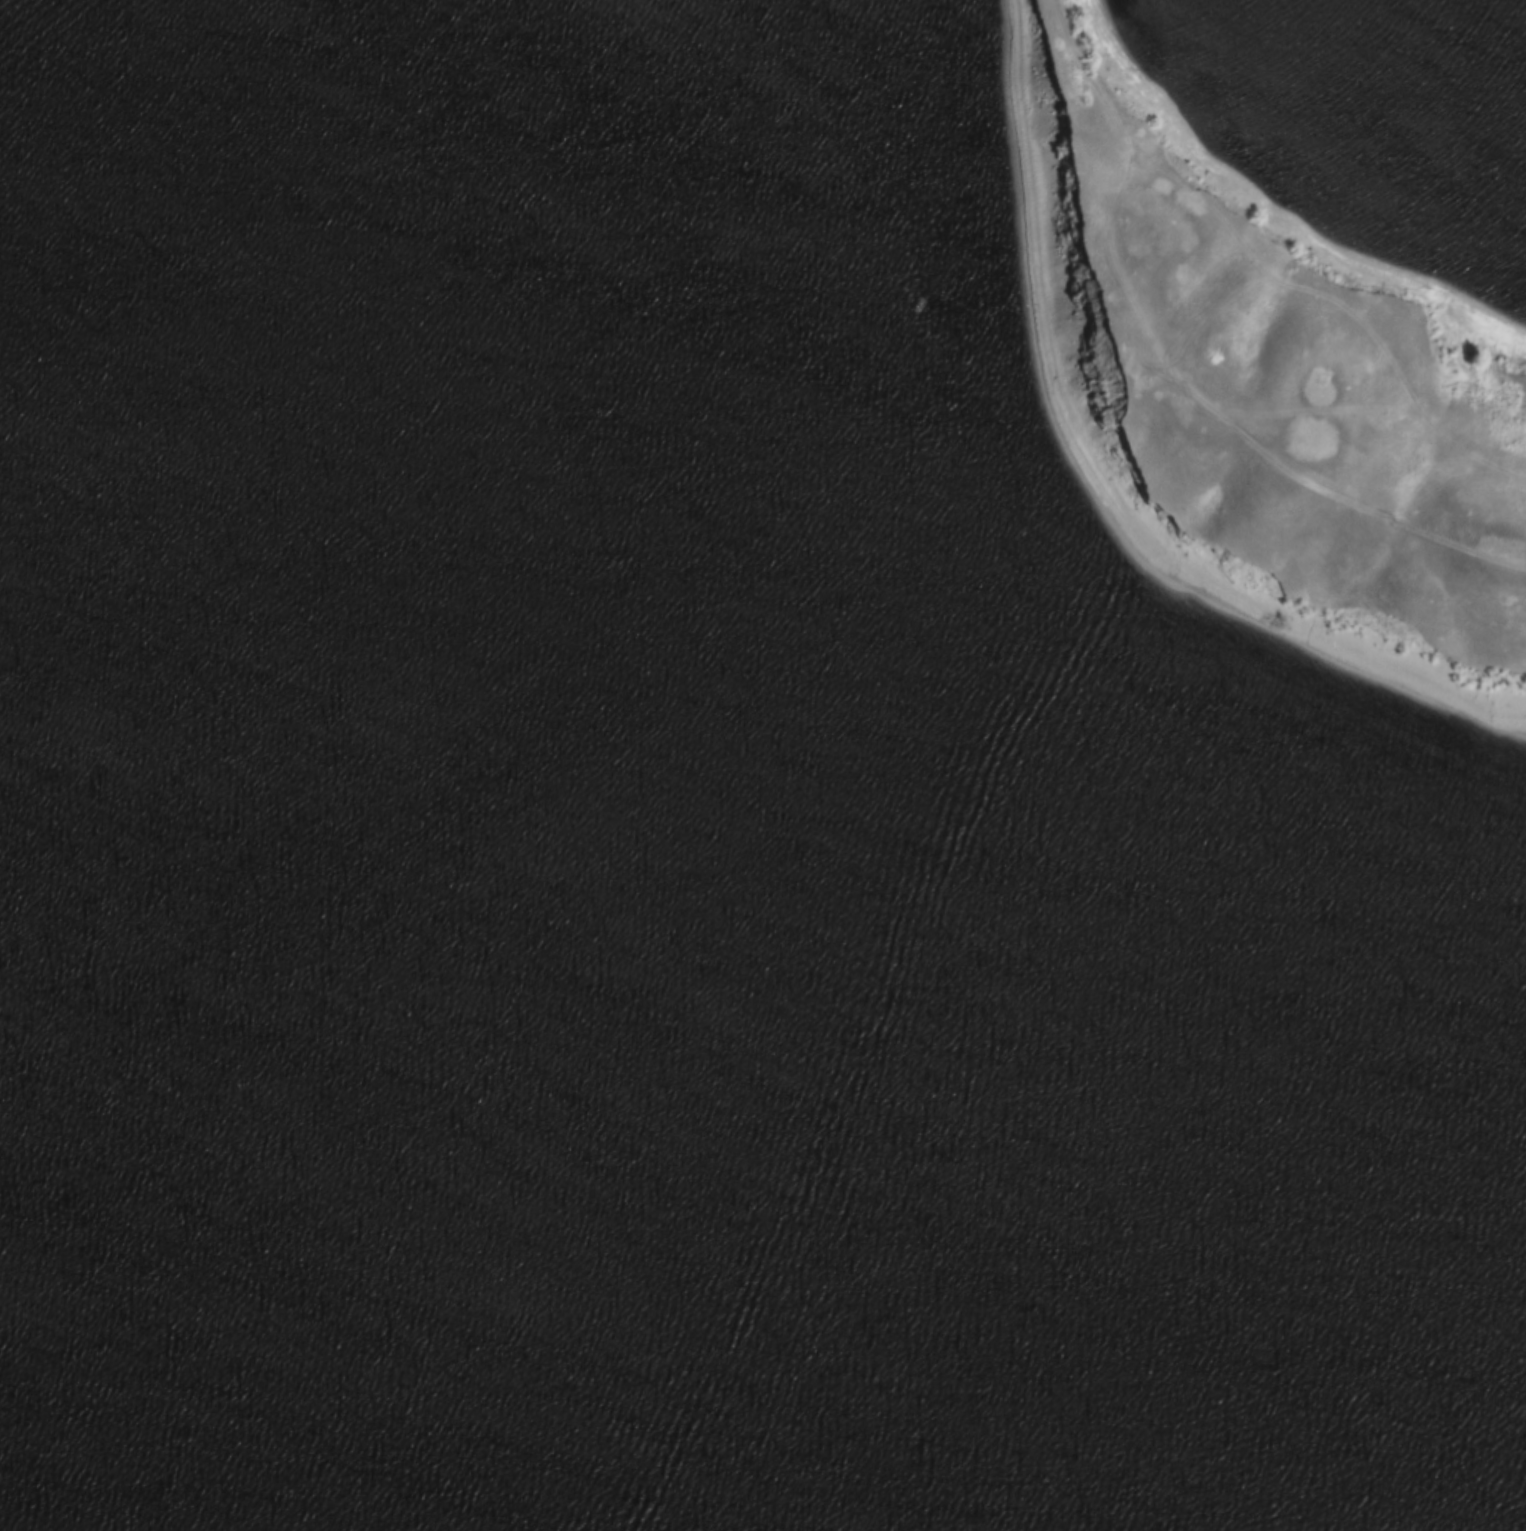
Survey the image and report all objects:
road: (1186, 391)

